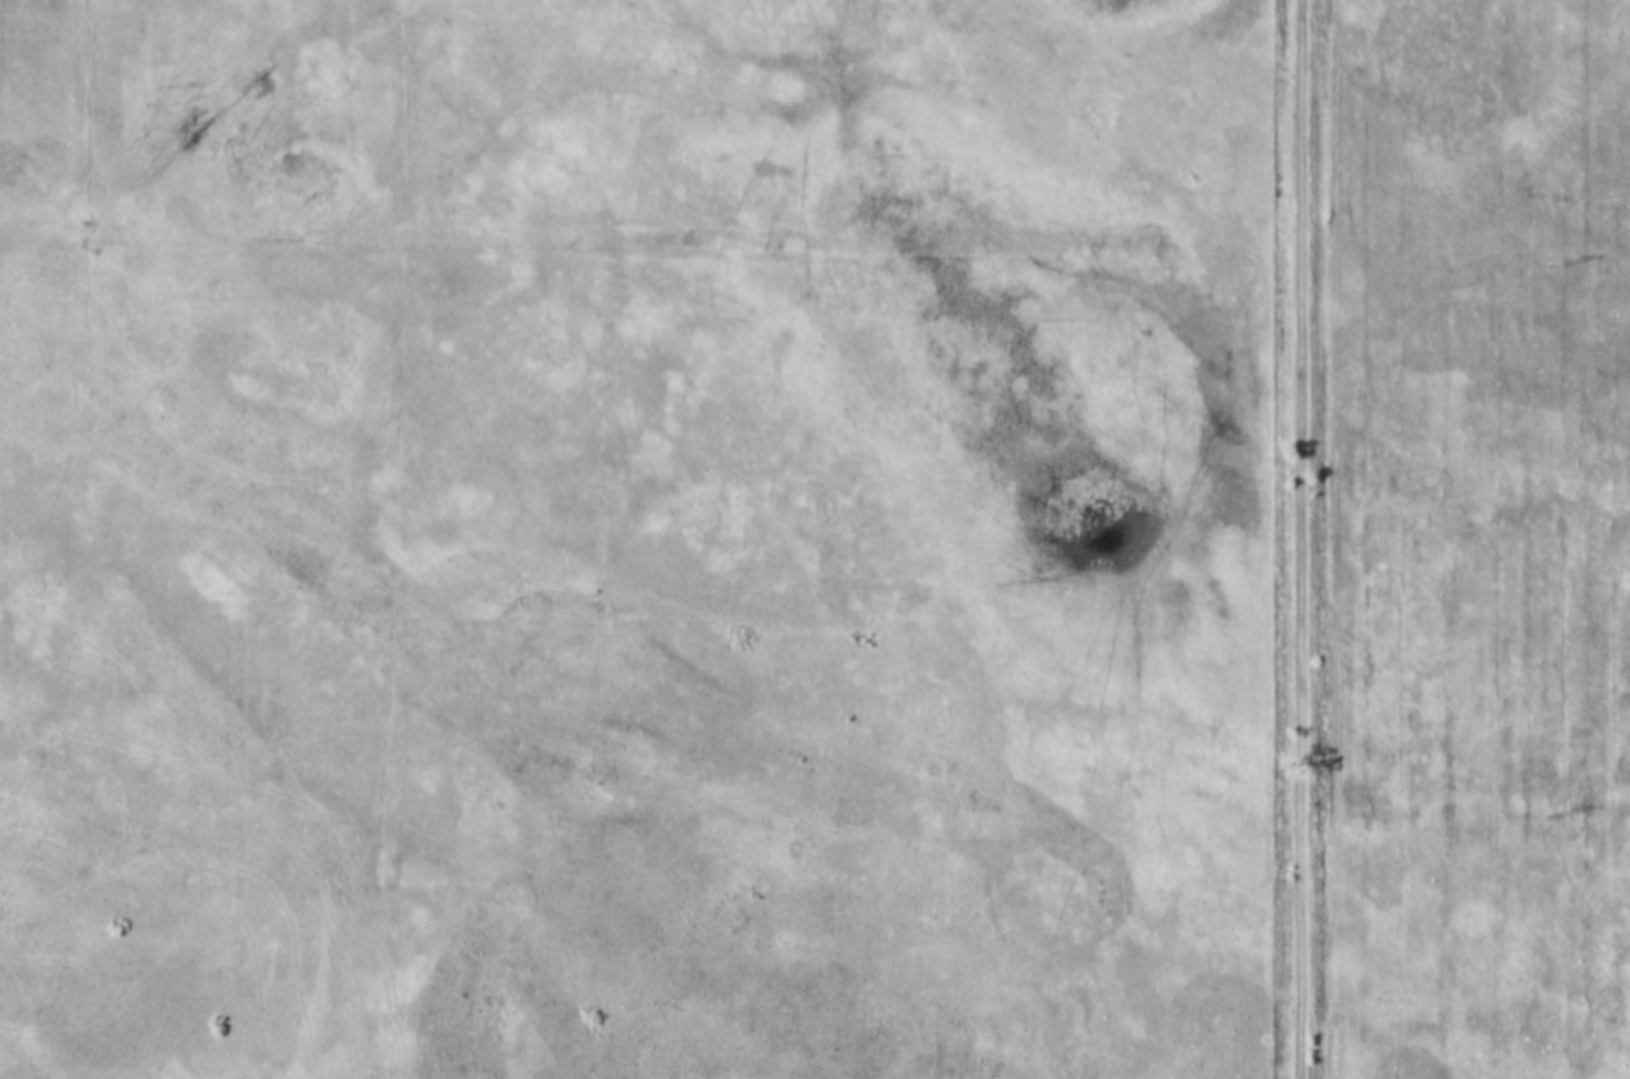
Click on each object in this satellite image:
power tower: (1553, 265)
road: (1304, 539)
power tower: (1555, 815)

